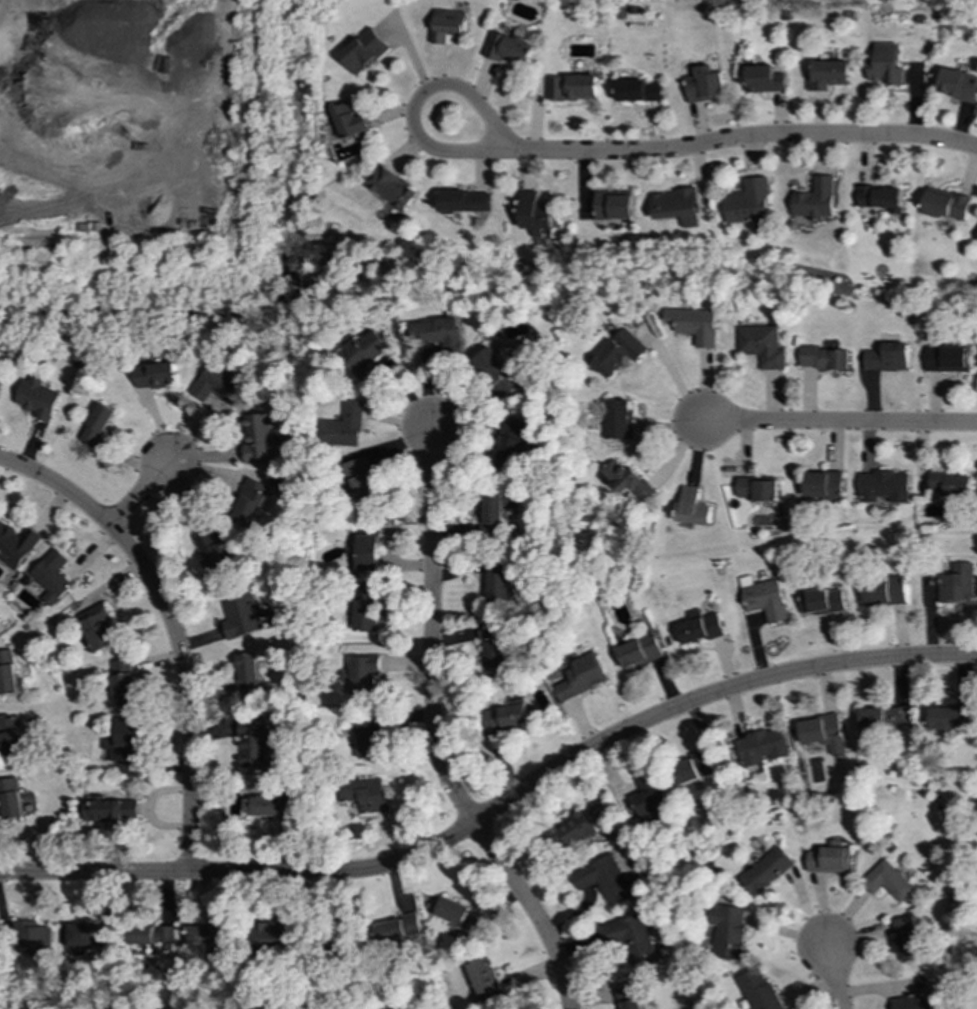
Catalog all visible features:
building: (448, 25)
building: (509, 49)
building: (364, 51)
building: (886, 65)
building: (829, 75)
building: (765, 79)
building: (706, 84)
building: (958, 84)
building: (573, 87)
building: (639, 91)
road: (483, 113)
building: (351, 121)
road: (753, 138)
building: (393, 188)
building: (882, 198)
building: (816, 200)
building: (465, 202)
building: (749, 204)
building: (614, 206)
building: (676, 206)
building: (535, 214)
building: (695, 325)
building: (439, 333)
building: (762, 346)
building: (618, 353)
building: (365, 356)
building: (825, 358)
building: (889, 358)
building: (948, 359)
road: (670, 374)
building: (157, 376)
building: (1, 385)
building: (219, 386)
building: (39, 398)
building: (618, 419)
road: (838, 421)
building: (99, 425)
building: (344, 427)
building: (260, 438)
building: (511, 444)
building: (629, 481)
building: (361, 483)
building: (953, 484)
building: (824, 485)
building: (886, 486)
building: (759, 489)
road: (137, 494)
building: (252, 503)
building: (692, 508)
building: (495, 511)
building: (16, 545)
building: (368, 546)
building: (213, 555)
building: (52, 576)
building: (958, 583)
building: (500, 586)
building: (885, 591)
building: (765, 599)
building: (822, 601)
building: (367, 608)
building: (243, 615)
building: (97, 627)
building: (699, 627)
road: (172, 628)
road: (431, 630)
building: (638, 651)
building: (9, 674)
building: (364, 675)
building: (249, 676)
building: (580, 677)
building: (123, 682)
building: (507, 716)
building: (947, 716)
building: (886, 718)
building: (823, 733)
building: (11, 736)
building: (369, 738)
building: (123, 741)
building: (253, 744)
building: (762, 746)
building: (693, 768)
building: (365, 795)
building: (648, 795)
building: (10, 798)
building: (264, 806)
building: (109, 809)
road: (497, 809)
building: (574, 831)
building: (829, 859)
building: (767, 871)
building: (607, 880)
building: (888, 881)
road: (531, 911)
building: (457, 915)
building: (395, 929)
building: (728, 931)
building: (140, 933)
building: (274, 934)
building: (87, 937)
building: (165, 937)
building: (629, 937)
building: (33, 938)
building: (907, 939)
building: (202, 940)
road: (834, 975)
building: (484, 980)
building: (759, 991)
building: (630, 996)

